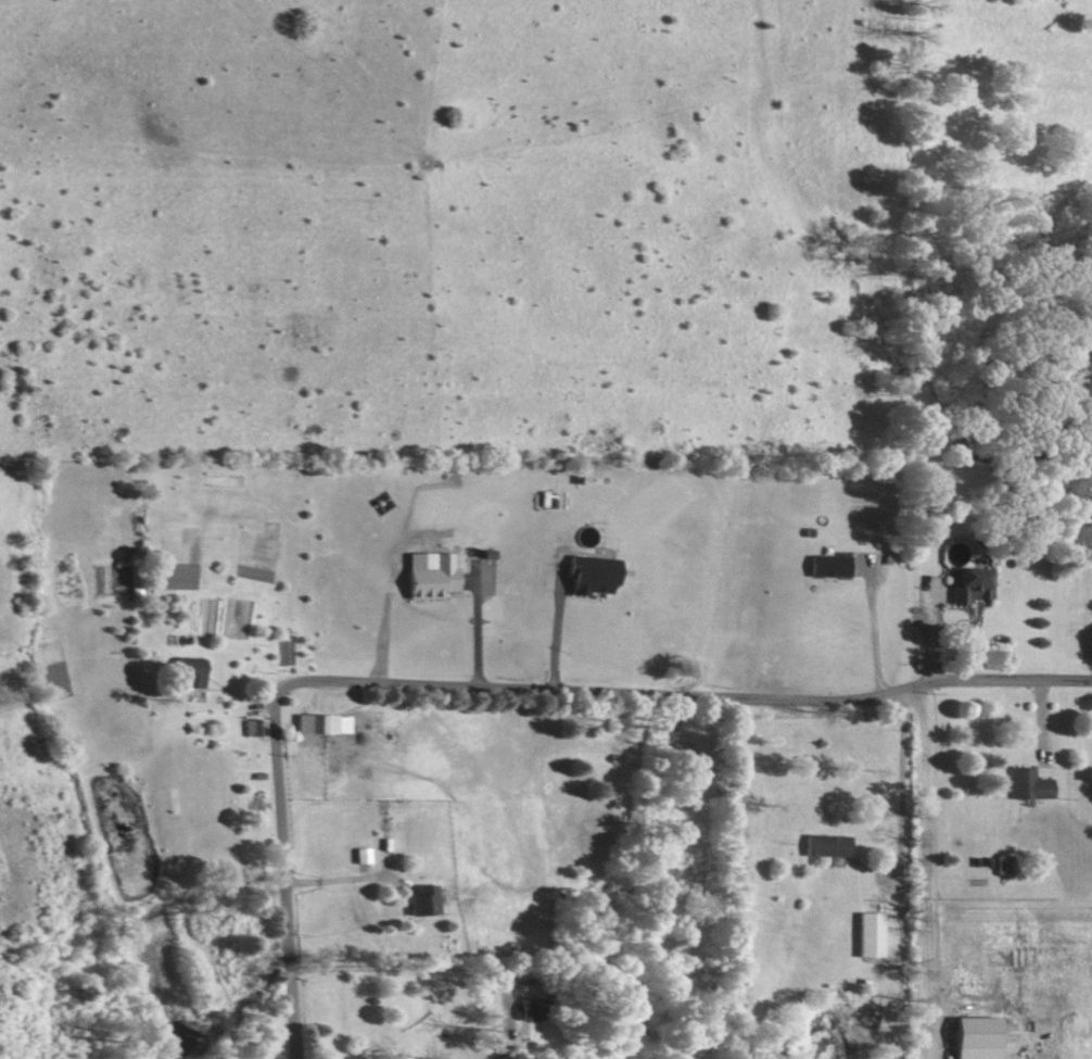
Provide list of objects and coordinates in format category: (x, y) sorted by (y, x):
building: (827, 566)
building: (429, 575)
building: (591, 575)
building: (968, 587)
road: (474, 623)
road: (556, 627)
road: (873, 629)
building: (188, 671)
road: (499, 688)
building: (321, 723)
building: (252, 727)
building: (1027, 784)
road: (899, 786)
building: (826, 846)
building: (361, 856)
building: (1002, 865)
road: (925, 871)
road: (346, 879)
building: (422, 900)
building: (868, 935)
road: (419, 965)
building: (526, 1009)
building: (974, 1037)

